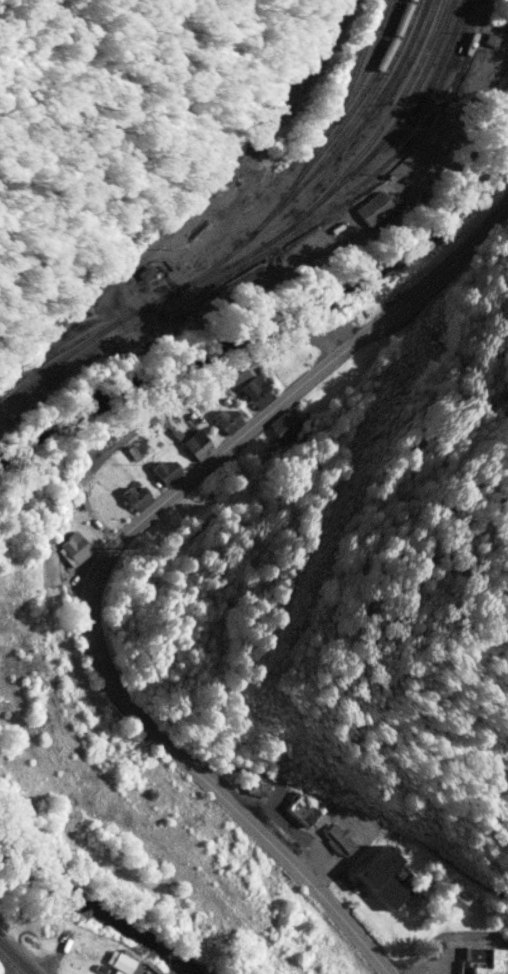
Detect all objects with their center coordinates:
railway: (187, 205)
building: (381, 208)
road: (213, 377)
building: (261, 391)
building: (232, 420)
building: (199, 442)
building: (170, 471)
building: (139, 498)
building: (194, 501)
building: (80, 547)
road: (105, 557)
road: (365, 782)
building: (261, 788)
building: (312, 810)
building: (345, 840)
building: (387, 876)
road: (27, 949)
building: (487, 961)
railway: (9, 963)
building: (126, 964)

